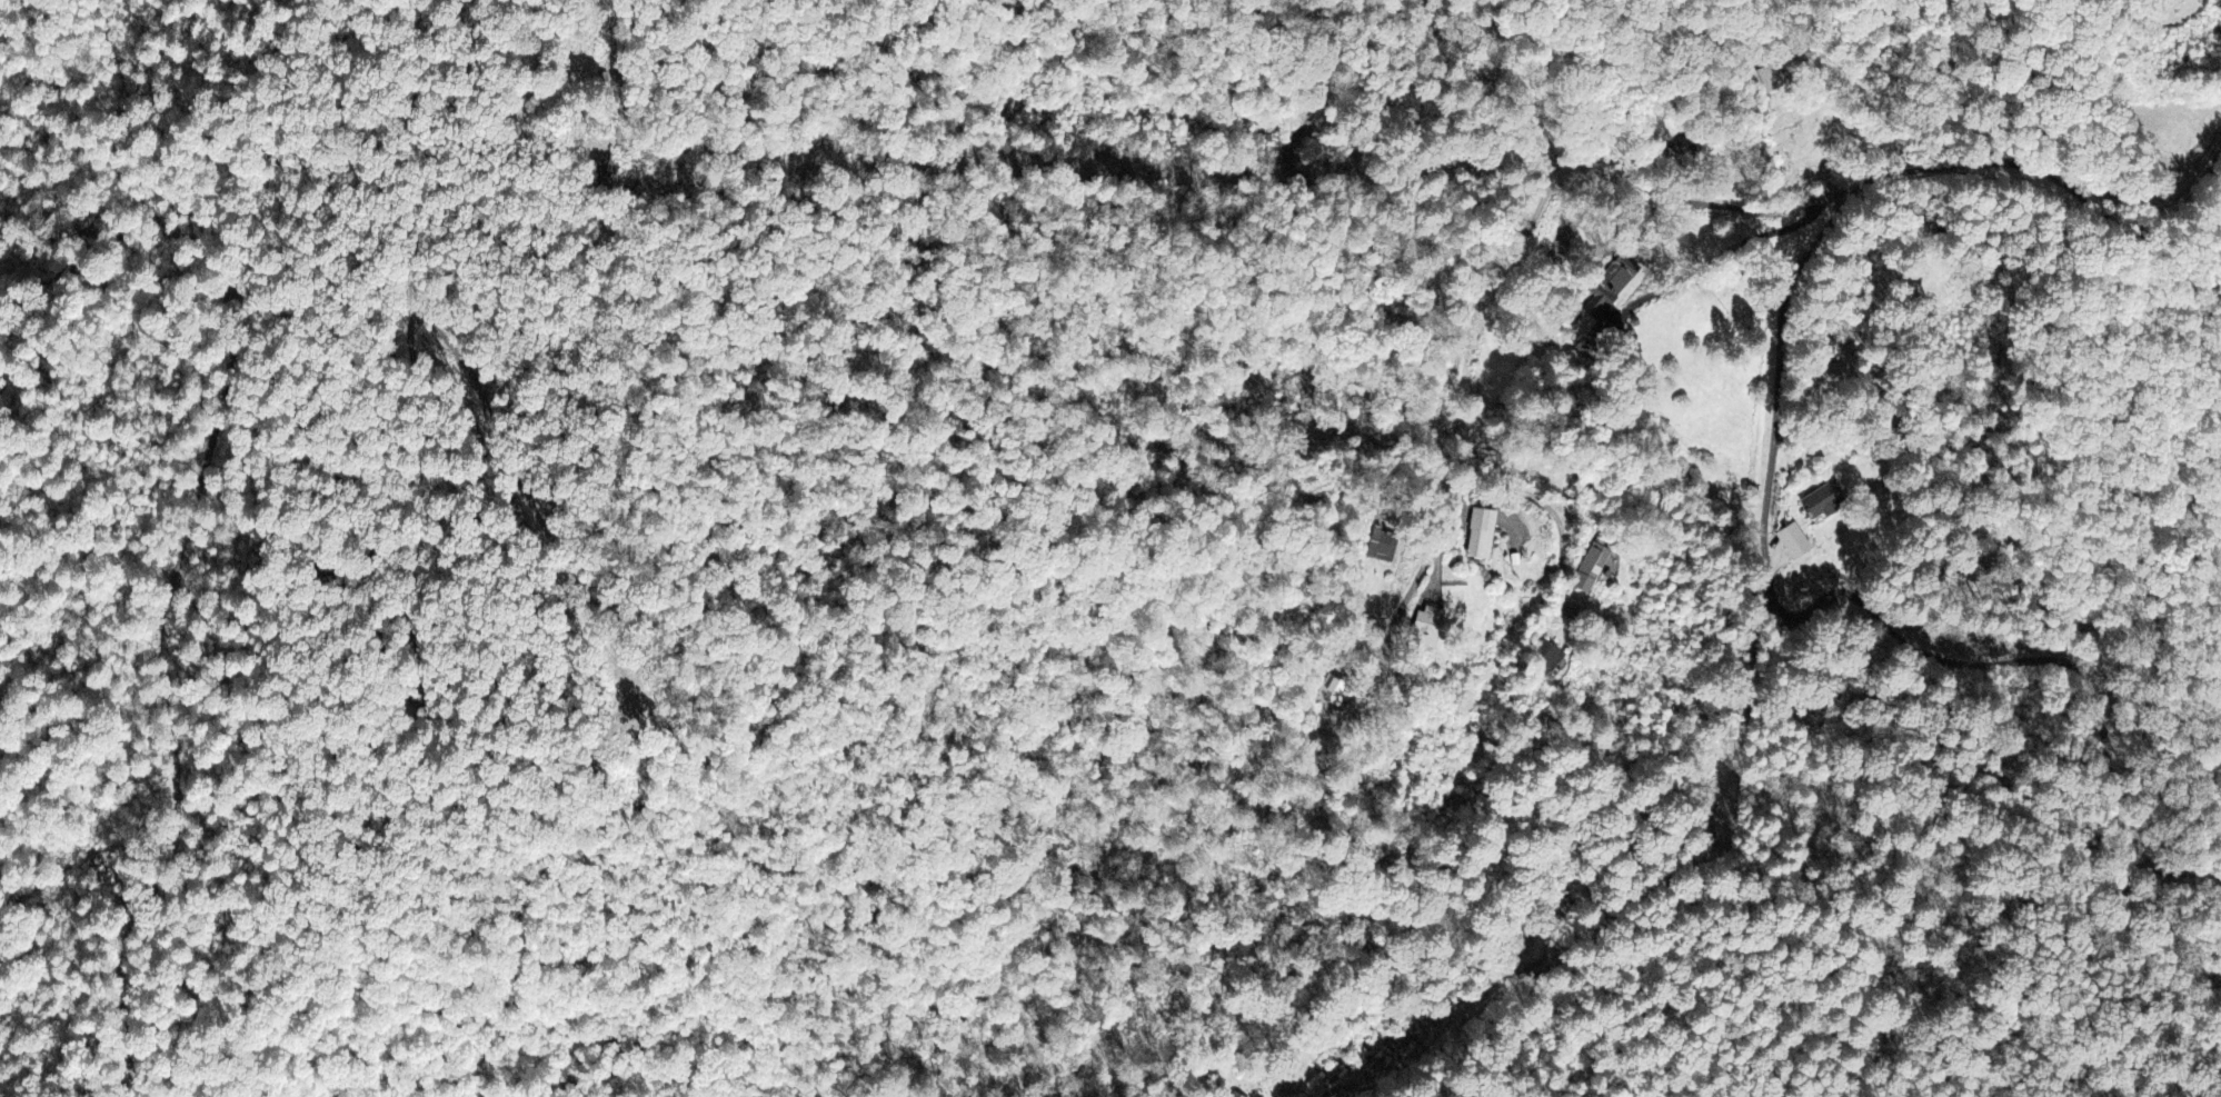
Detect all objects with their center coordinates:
road: (1471, 295)
road: (1785, 307)
building: (1584, 349)
road: (308, 431)
road: (1510, 482)
building: (1825, 502)
building: (1490, 521)
building: (1596, 568)
road: (2046, 574)
road: (2088, 802)

